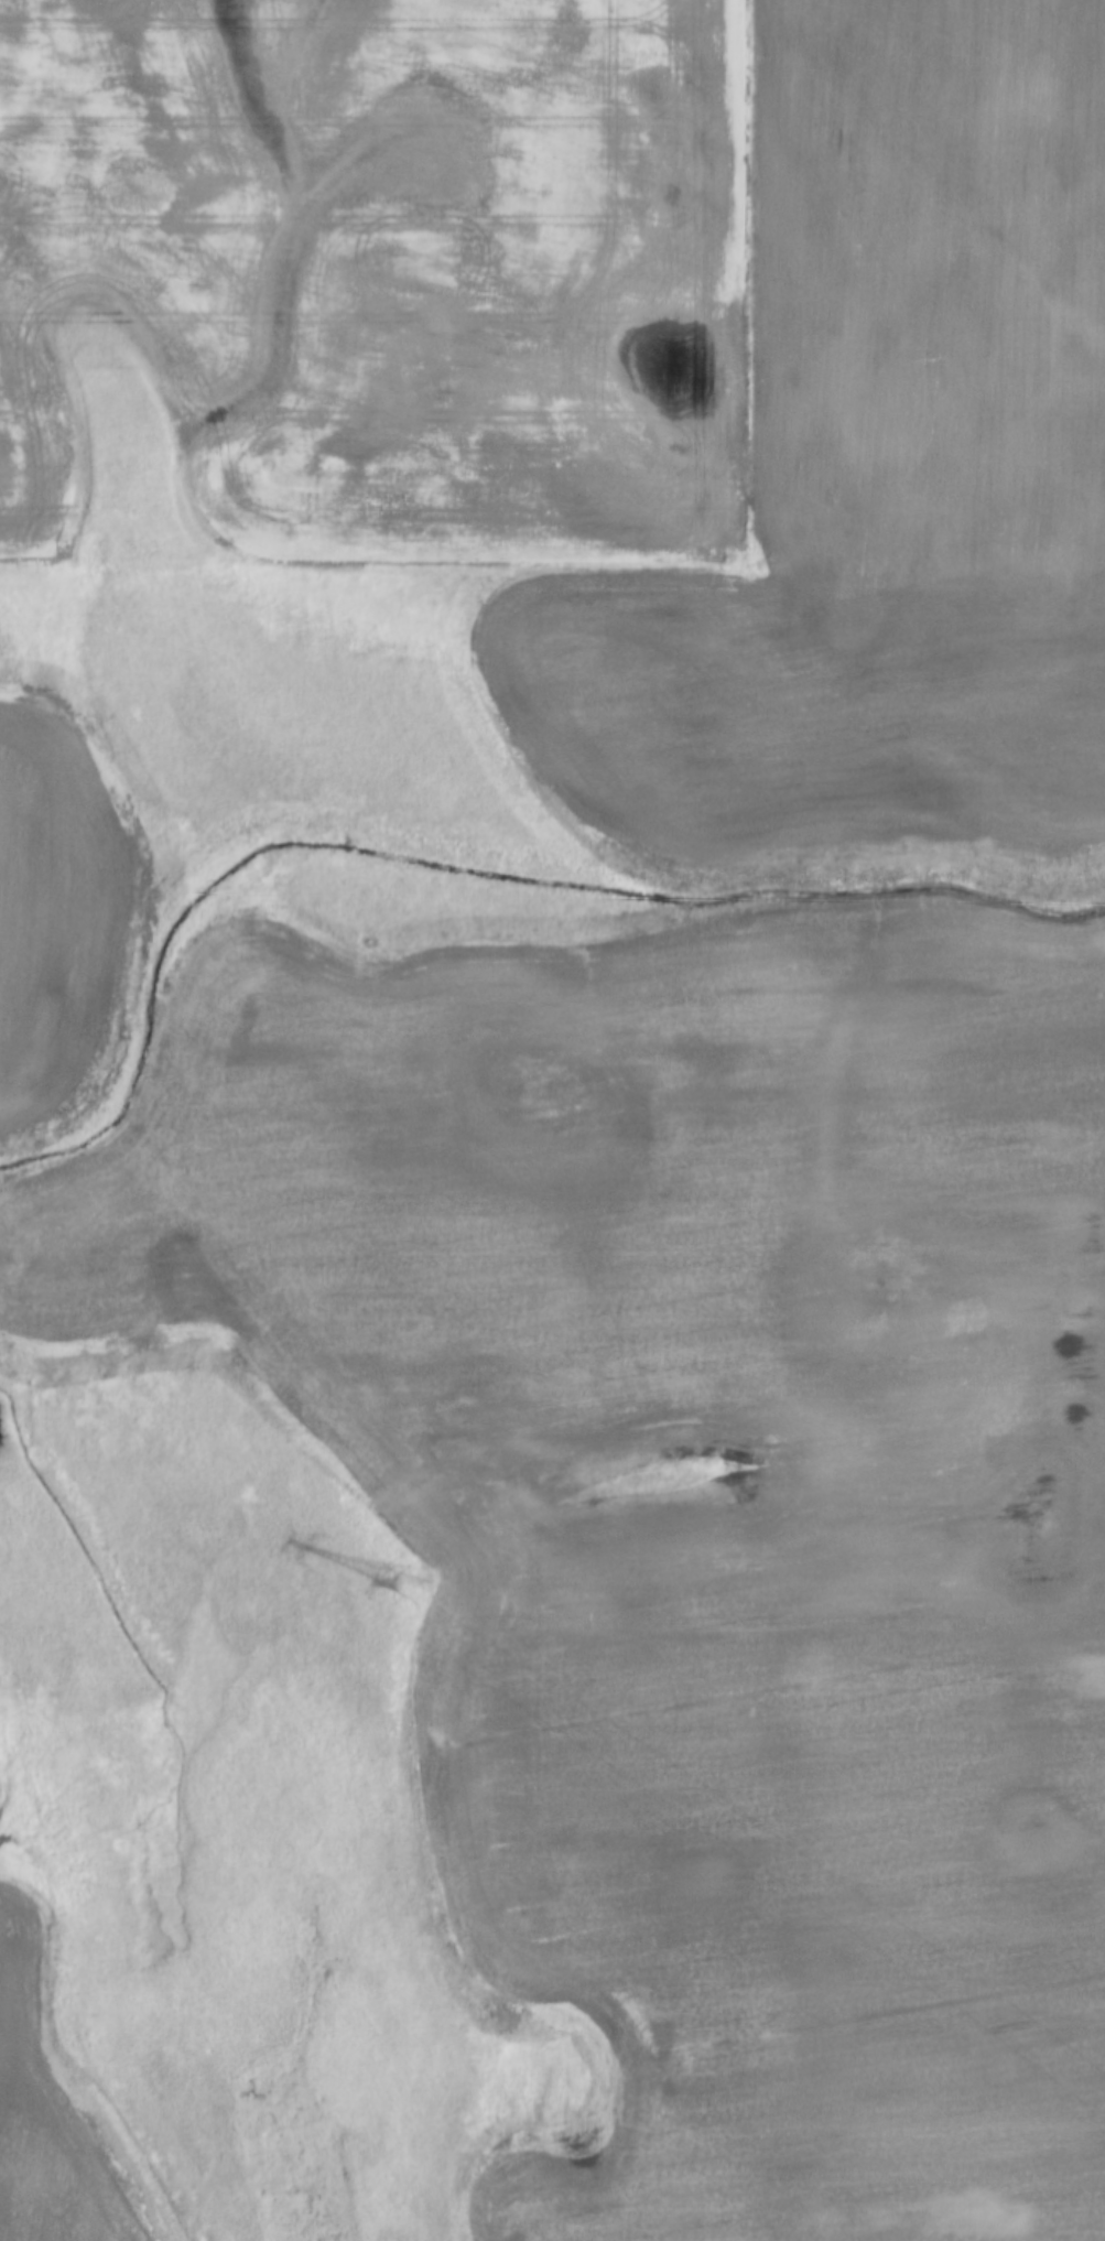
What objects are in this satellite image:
power tower: (441, 1593)

